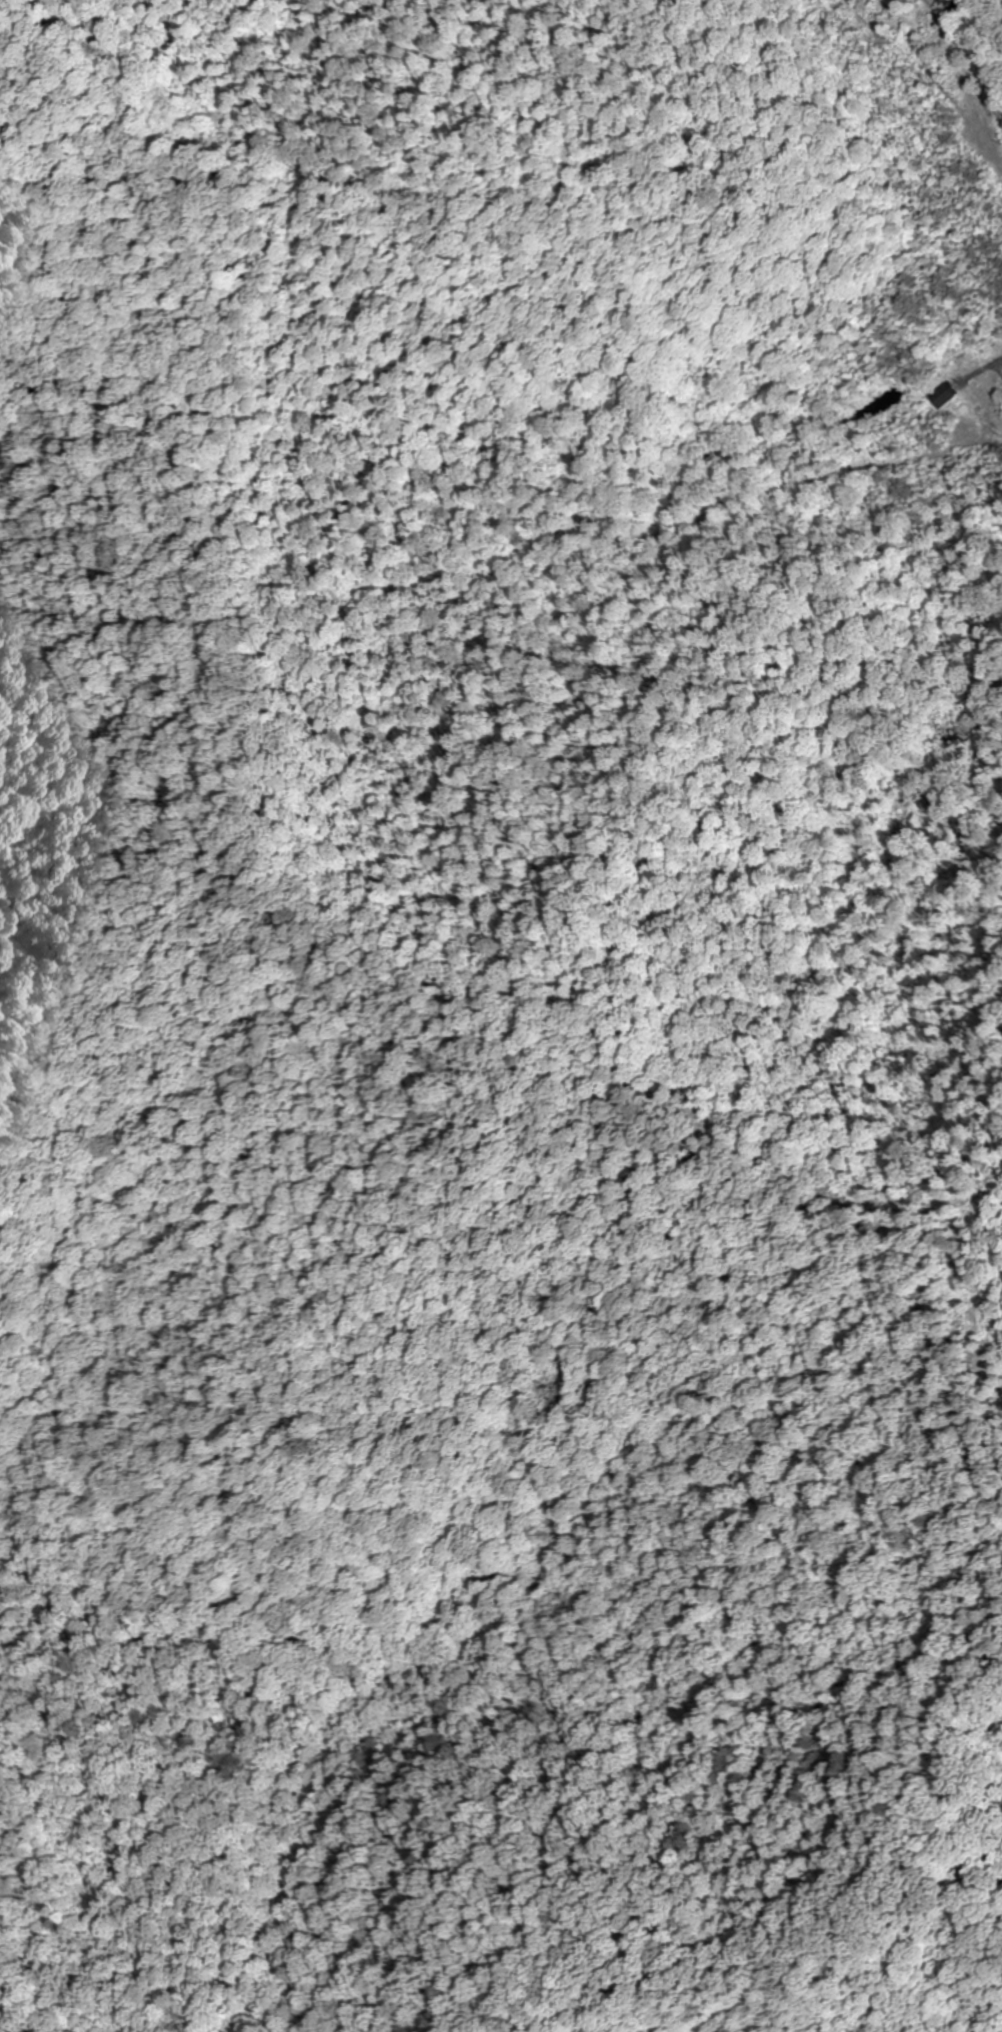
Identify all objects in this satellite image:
building: (945, 395)

